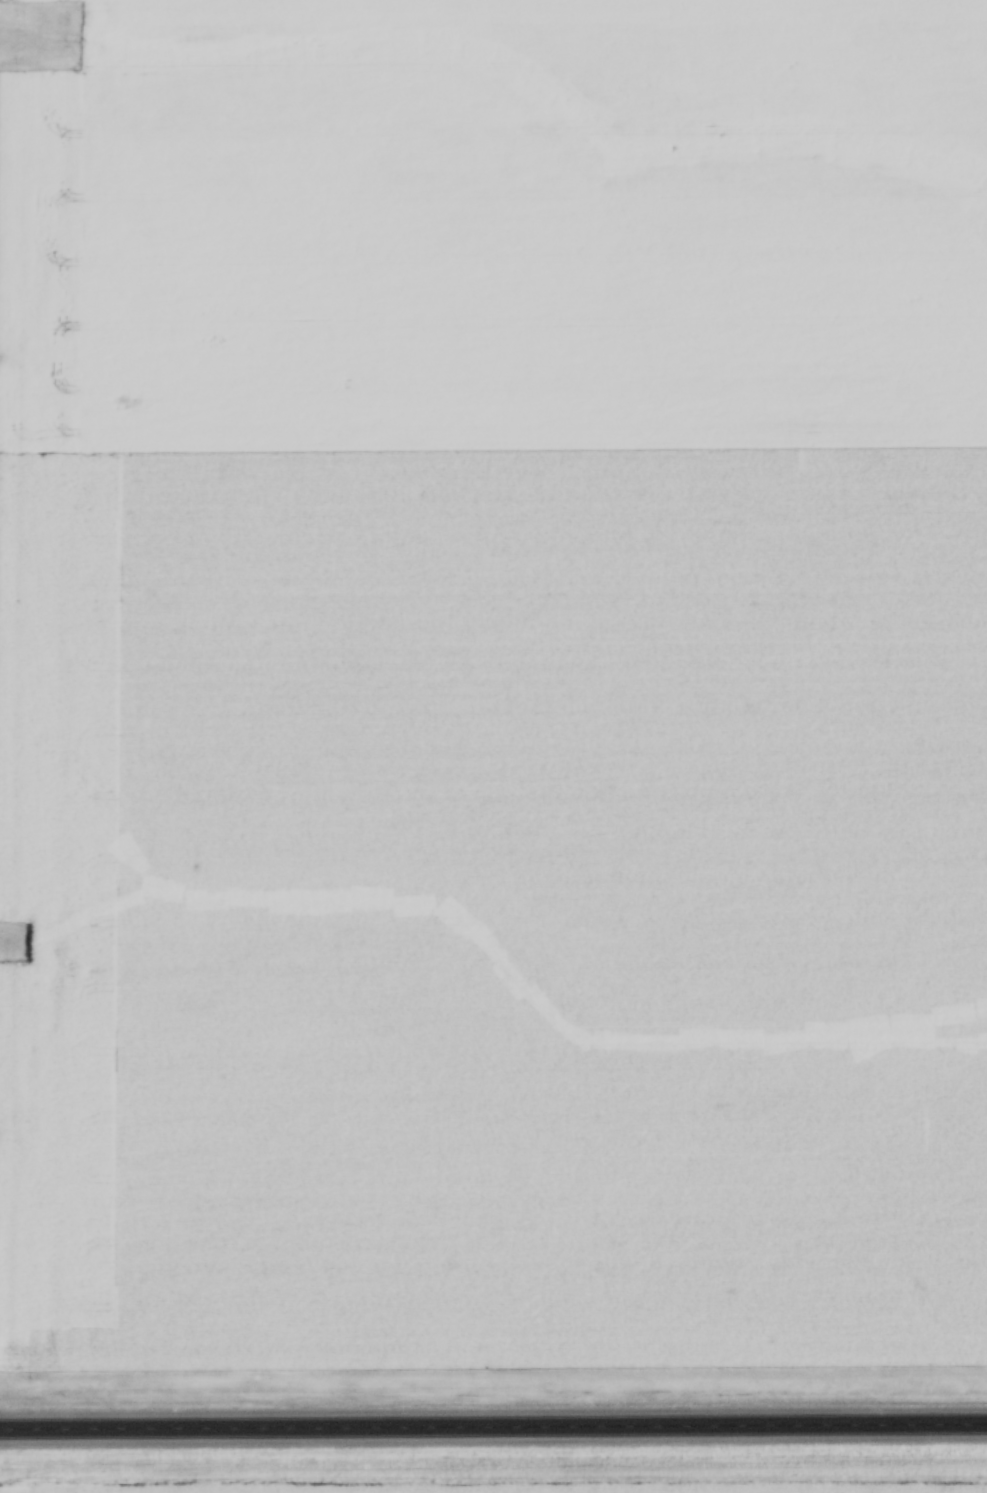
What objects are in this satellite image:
road: (493, 1428)

